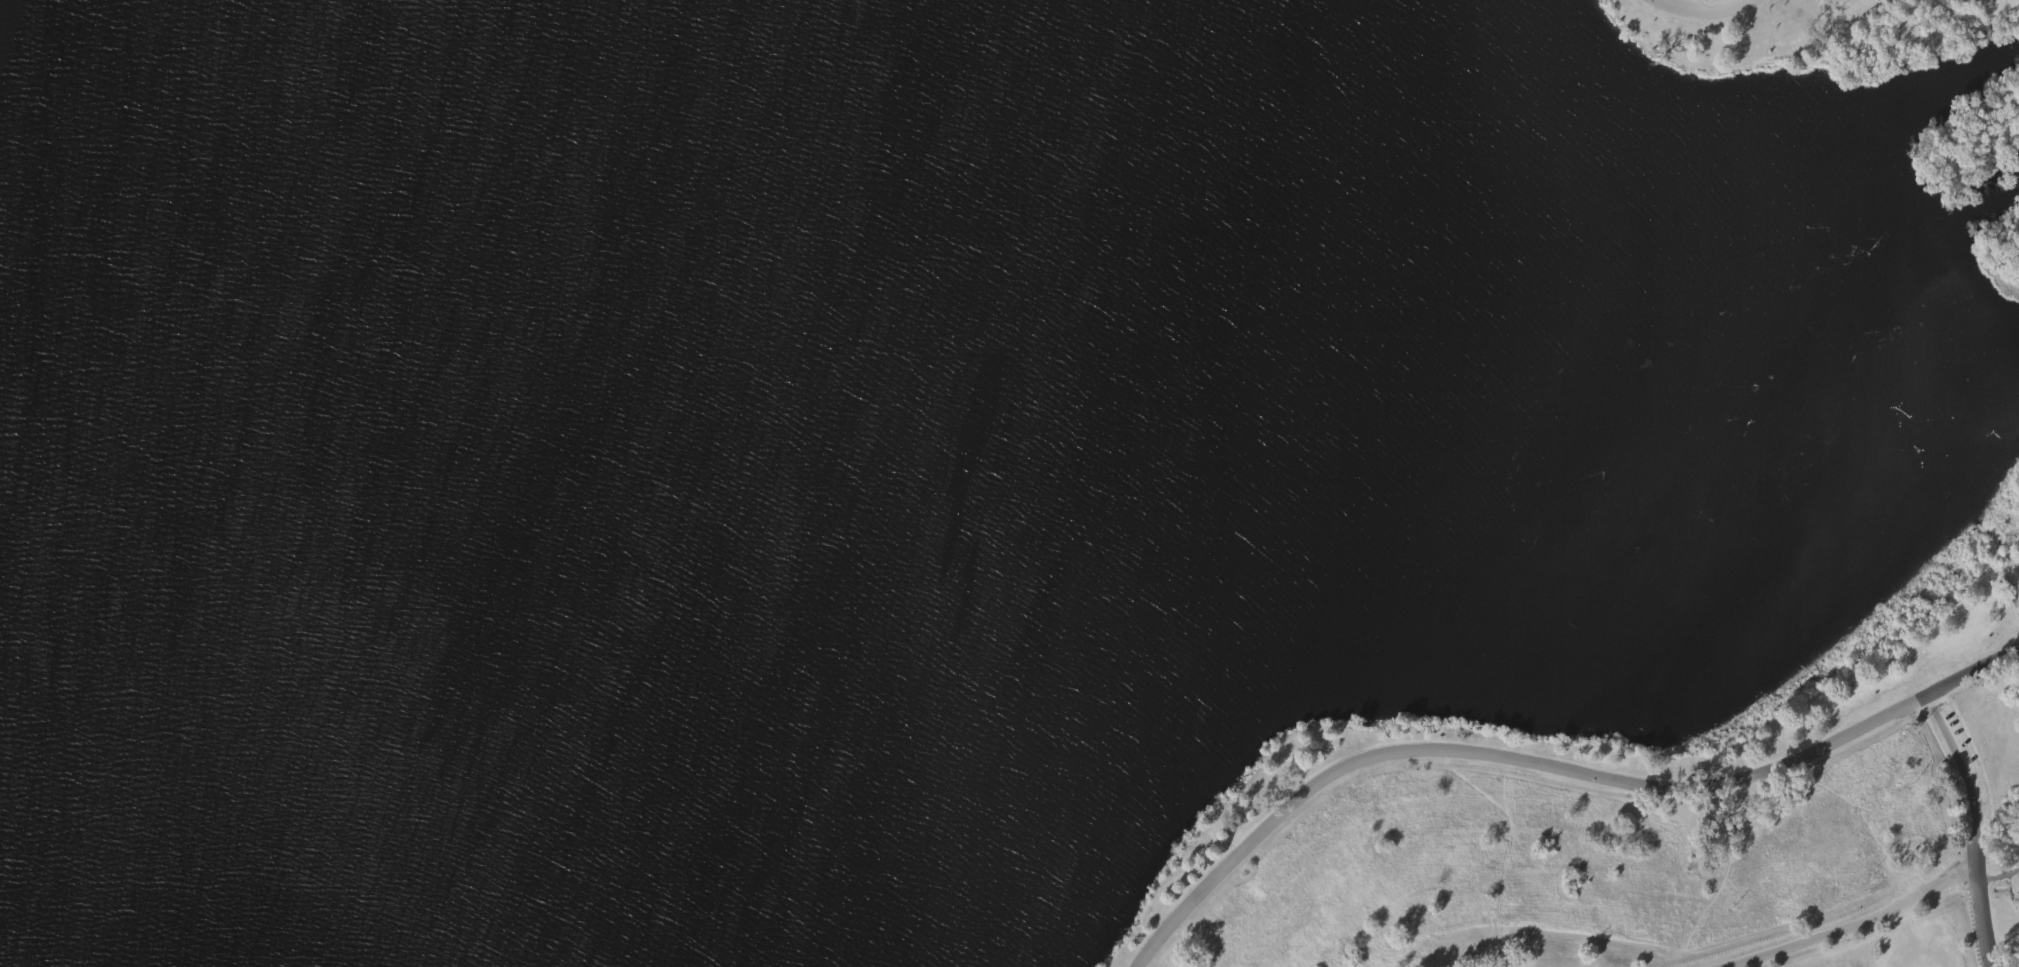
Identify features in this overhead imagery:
parking lot: (1719, 0)
road: (1706, 11)
park: (1009, 483)
road: (1972, 670)
road: (1929, 703)
road: (1497, 753)
road: (1972, 835)
road: (1998, 876)
road: (1900, 916)
road: (1849, 925)
parking lot: (1918, 943)
road: (1918, 943)
road: (1890, 945)

